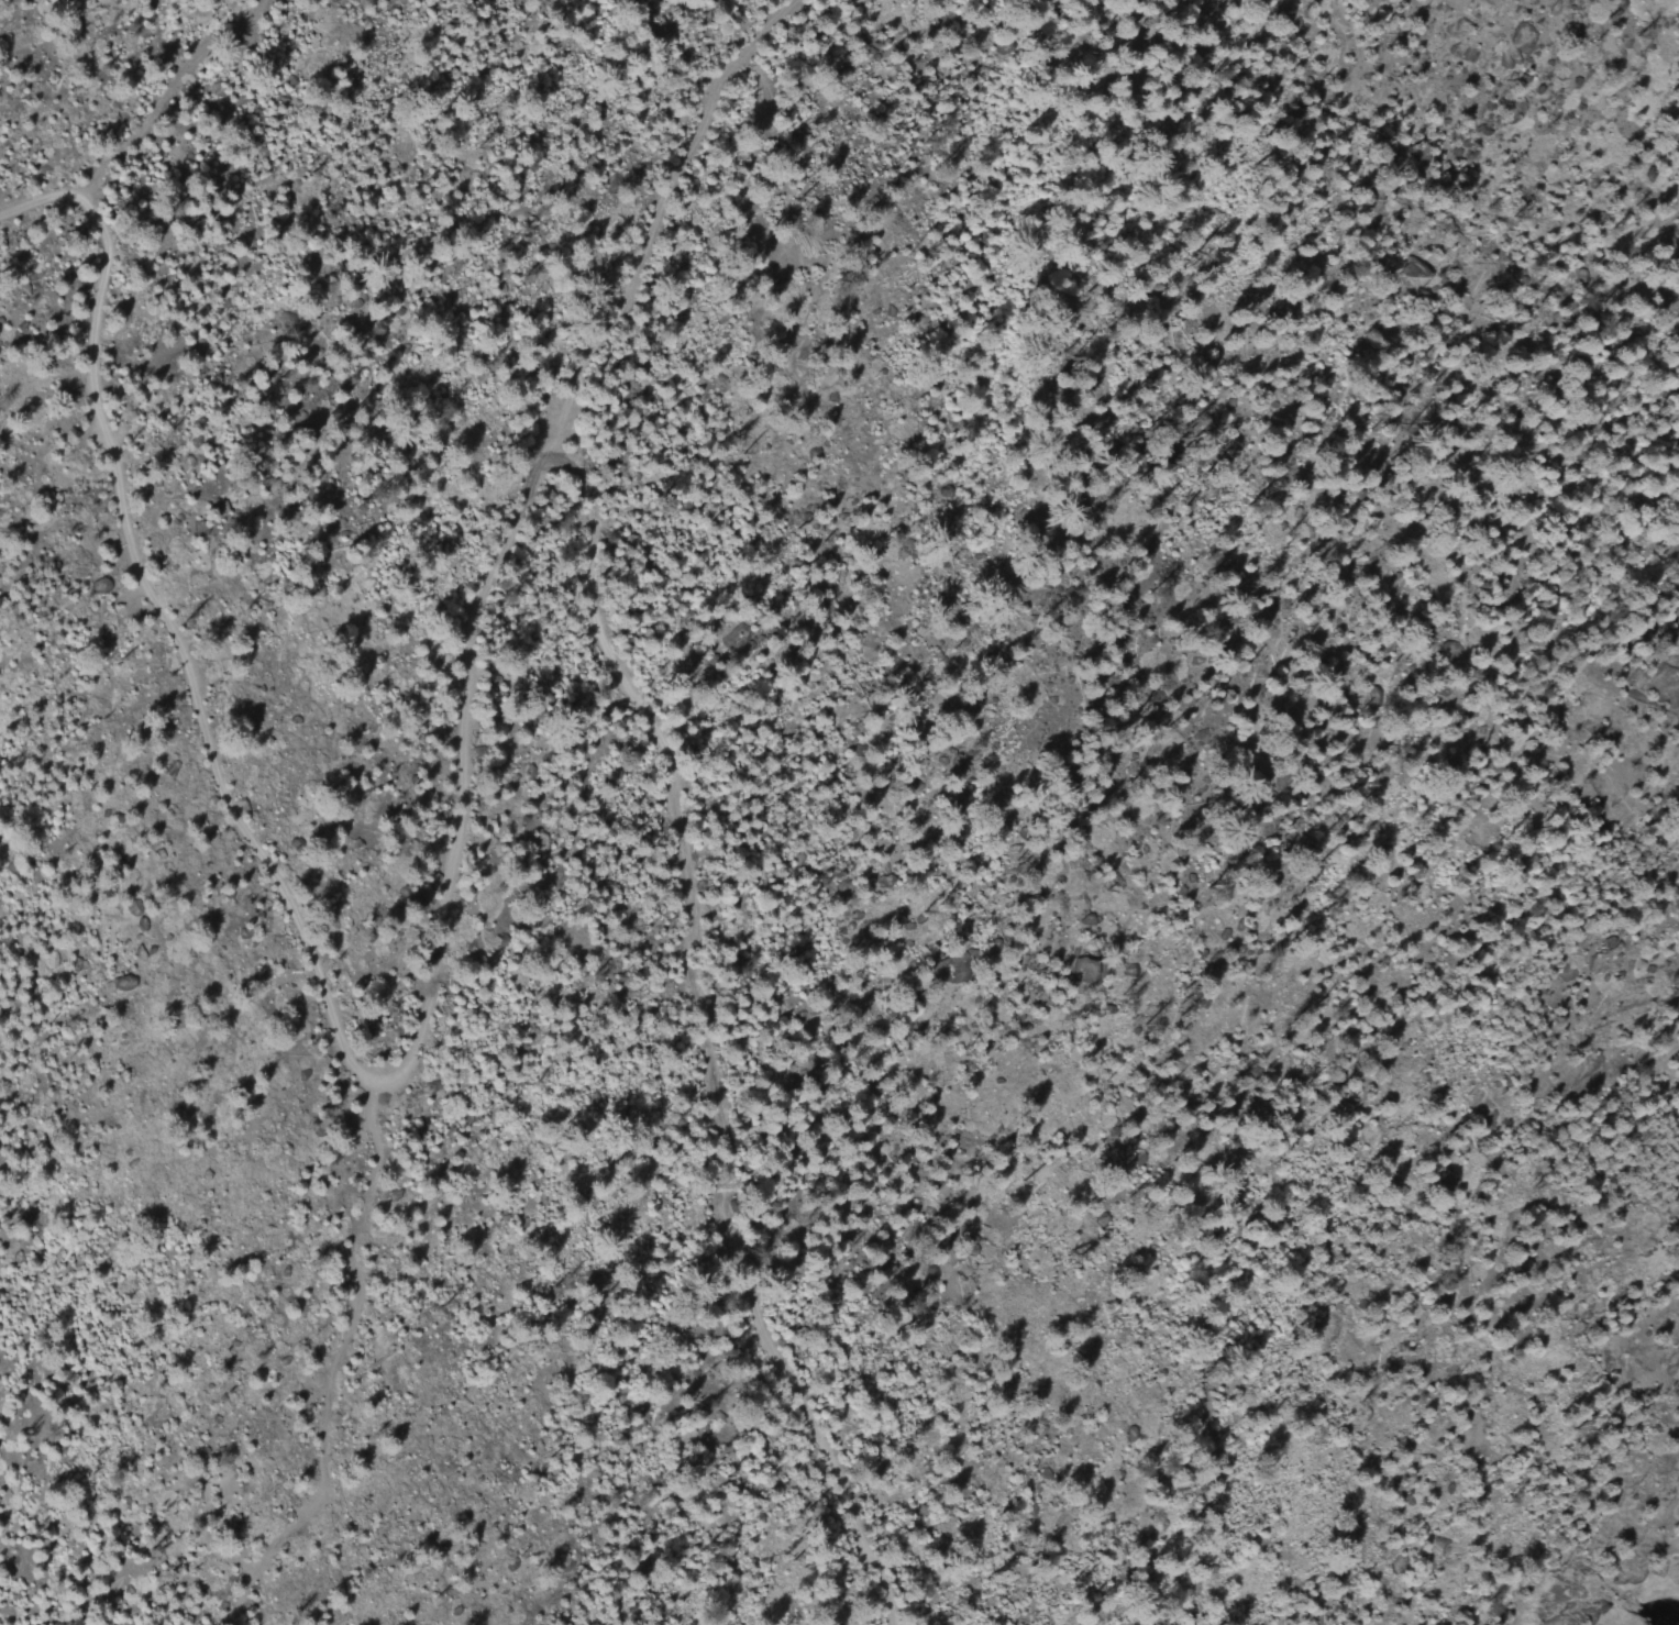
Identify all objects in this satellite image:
road: (213, 164)
road: (655, 230)
road: (264, 911)
road: (731, 1040)
road: (363, 1344)

